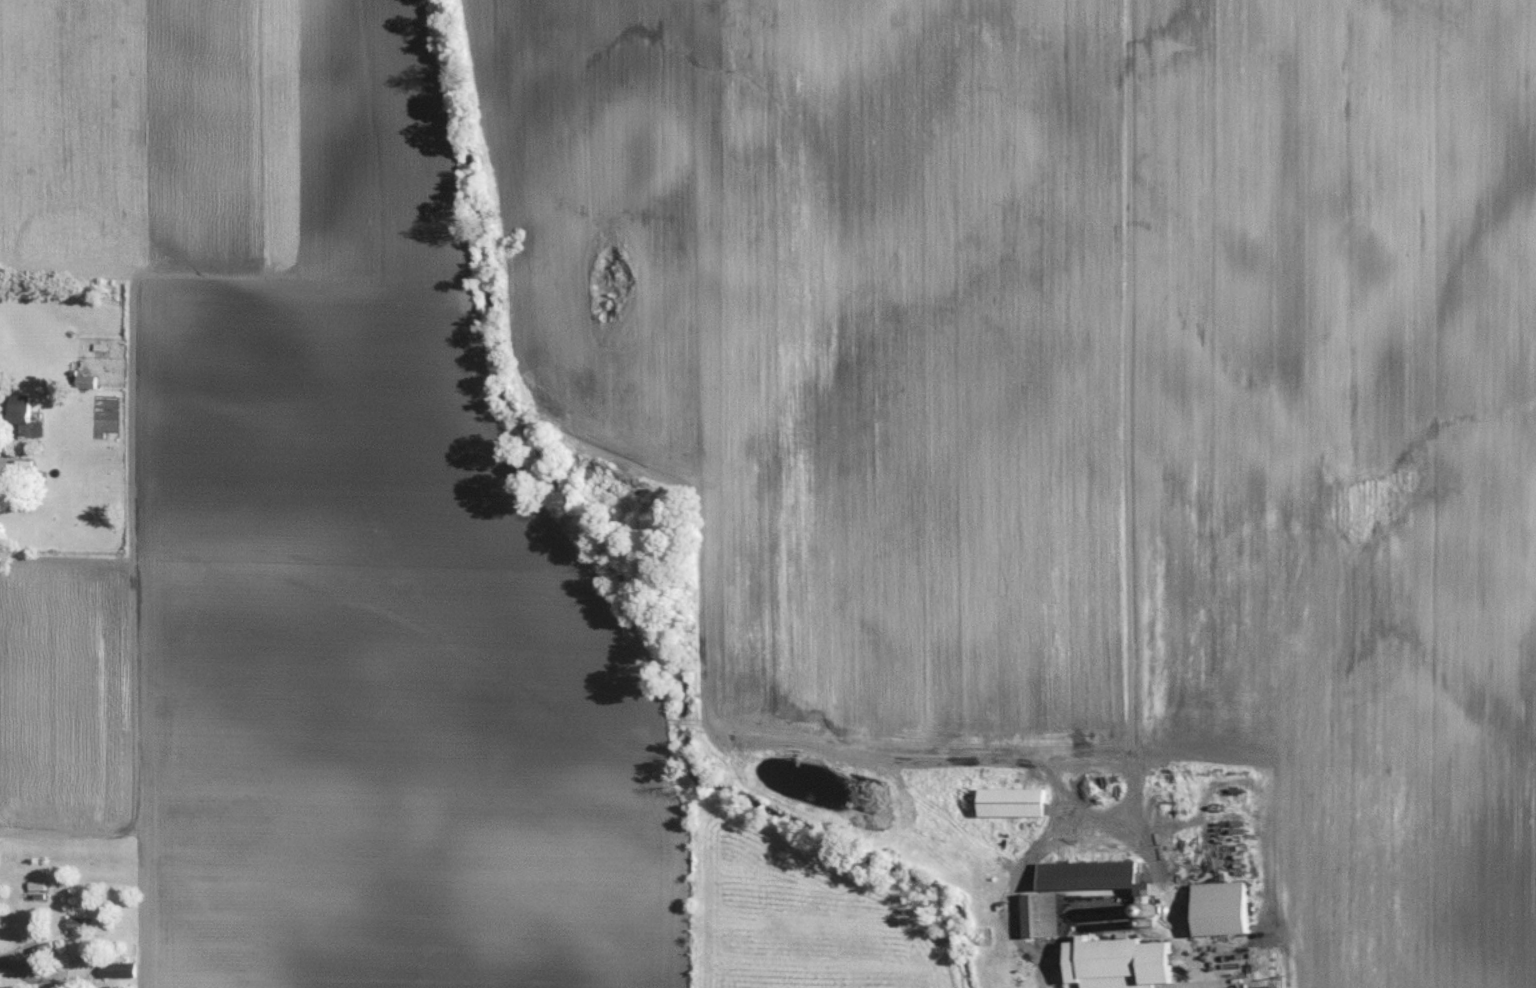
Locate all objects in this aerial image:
building: (25, 409)
building: (1096, 865)
building: (1035, 914)
building: (81, 927)
building: (1113, 962)
road: (1188, 981)

